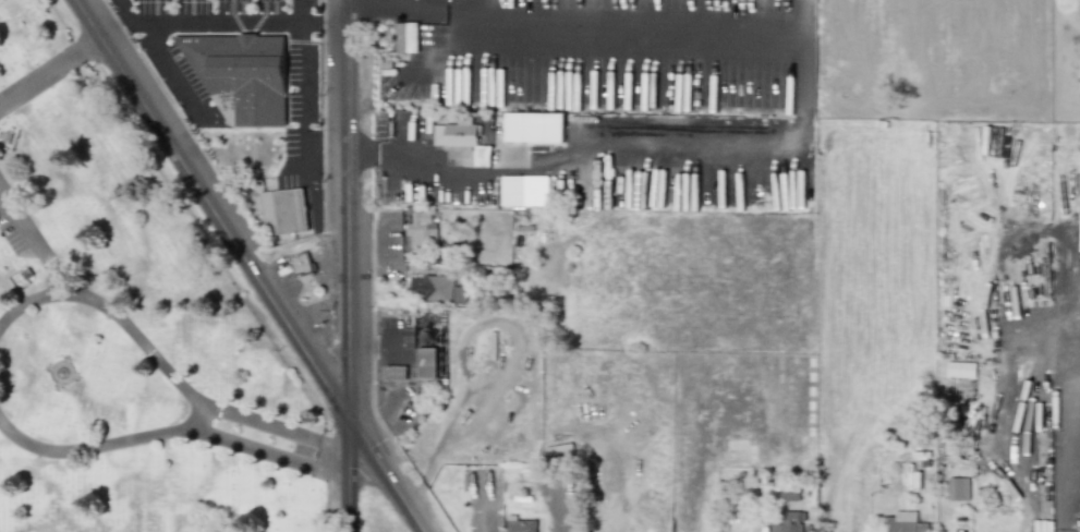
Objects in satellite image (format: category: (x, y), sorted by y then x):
road: (416, 8)
road: (305, 13)
road: (484, 13)
road: (118, 17)
road: (139, 20)
road: (229, 26)
road: (655, 29)
building: (405, 37)
road: (51, 72)
road: (305, 72)
road: (180, 73)
building: (241, 75)
building: (534, 128)
building: (458, 133)
building: (482, 158)
road: (533, 173)
building: (284, 210)
building: (422, 227)
building: (302, 265)
road: (254, 266)
road: (347, 266)
building: (436, 288)
road: (34, 304)
park: (130, 326)
road: (151, 355)
building: (427, 363)
building: (960, 370)
building: (395, 372)
road: (96, 445)
road: (260, 455)
building: (958, 488)
building: (790, 493)
road: (1063, 498)
building: (790, 521)
building: (902, 521)
building: (521, 523)

